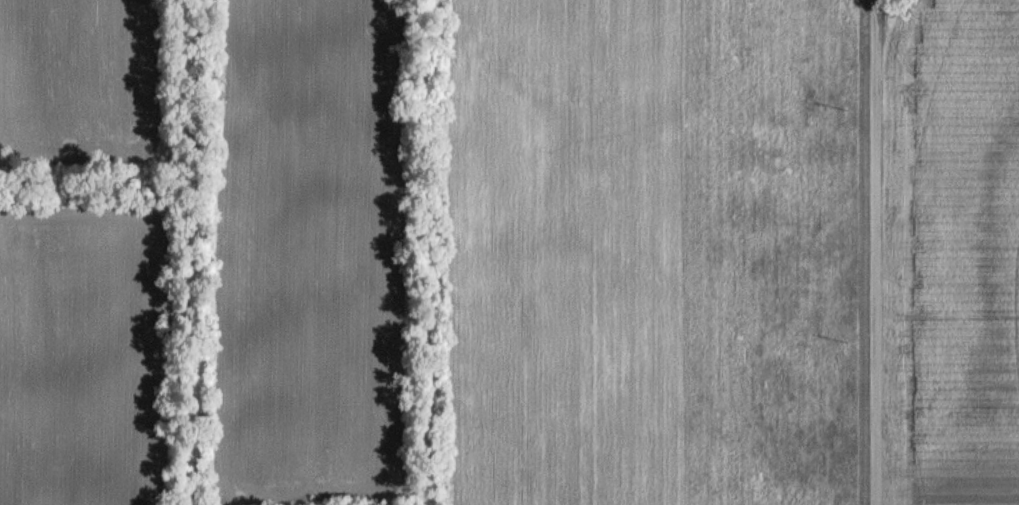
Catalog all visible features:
road: (881, 252)

